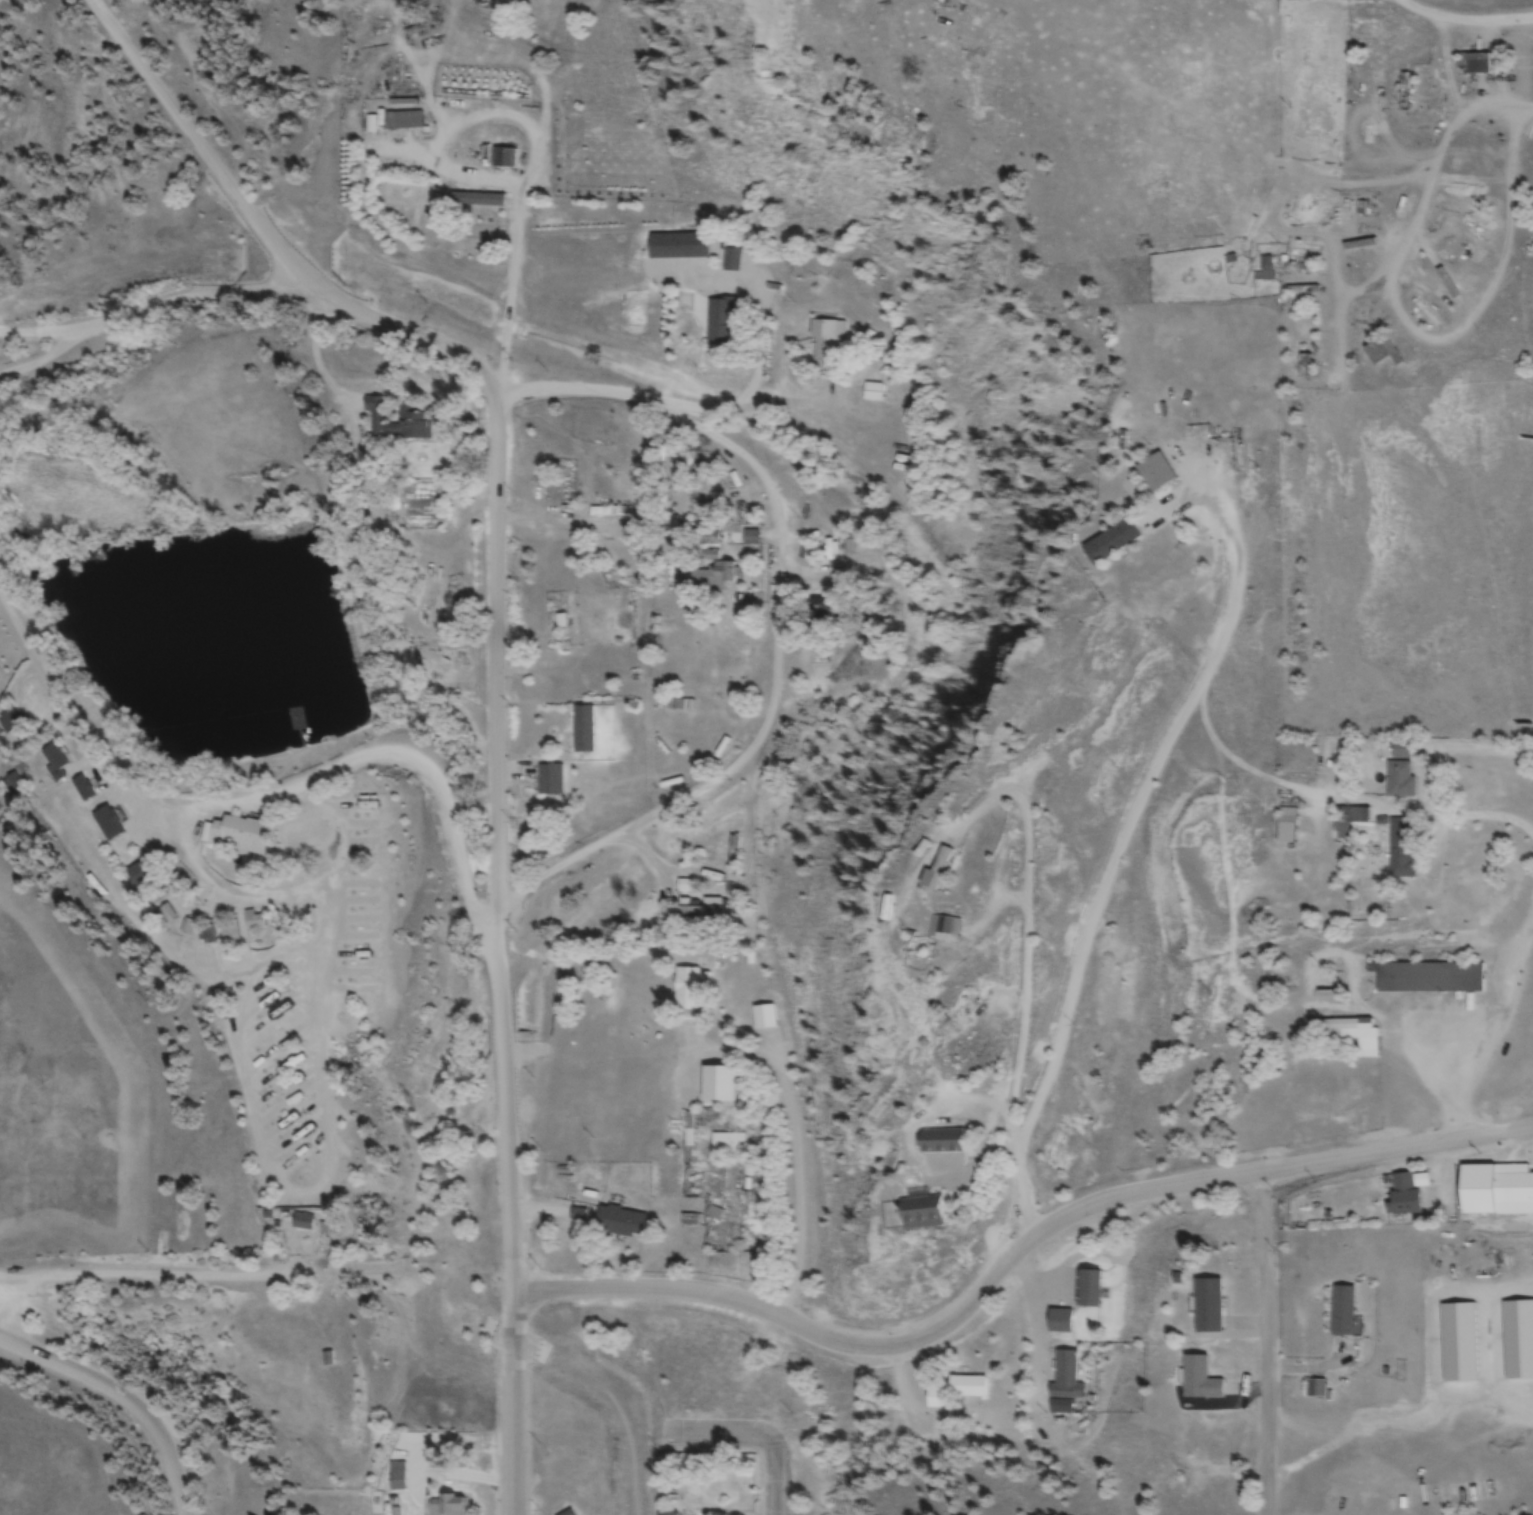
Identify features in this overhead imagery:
building: (1475, 64)
building: (1406, 93)
building: (403, 122)
building: (371, 126)
building: (504, 160)
building: (477, 202)
road: (264, 231)
building: (678, 248)
building: (1305, 249)
building: (730, 262)
building: (1266, 271)
building: (1302, 292)
road: (145, 307)
building: (1426, 316)
building: (720, 326)
road: (43, 328)
building: (827, 343)
building: (1382, 354)
building: (1305, 367)
building: (873, 394)
building: (414, 420)
building: (1155, 474)
building: (1109, 544)
building: (809, 553)
building: (714, 579)
building: (818, 612)
road: (778, 617)
building: (570, 622)
building: (10, 722)
building: (296, 724)
building: (583, 732)
building: (56, 763)
building: (1399, 781)
building: (550, 782)
building: (82, 789)
road: (250, 798)
building: (1351, 822)
building: (107, 825)
building: (1287, 825)
building: (236, 836)
road: (498, 849)
building: (1401, 850)
building: (734, 858)
building: (935, 873)
building: (136, 874)
building: (700, 913)
building: (166, 916)
building: (257, 920)
building: (942, 929)
building: (206, 936)
building: (1429, 979)
building: (687, 991)
building: (764, 1019)
building: (1349, 1036)
building: (953, 1039)
building: (939, 1141)
building: (727, 1146)
road: (1394, 1150)
road: (796, 1179)
building: (1496, 1192)
building: (1404, 1195)
building: (919, 1212)
building: (301, 1222)
building: (620, 1222)
road: (120, 1284)
building: (1089, 1289)
building: (1207, 1307)
building: (1342, 1312)
building: (1060, 1322)
road: (906, 1340)
road: (1265, 1346)
building: (325, 1360)
building: (1064, 1376)
building: (1199, 1380)
building: (1316, 1390)
building: (955, 1393)
road: (121, 1400)
road: (513, 1405)
road: (723, 1433)
building: (396, 1478)
road: (775, 1481)
building: (447, 1506)
building: (667, 1514)

